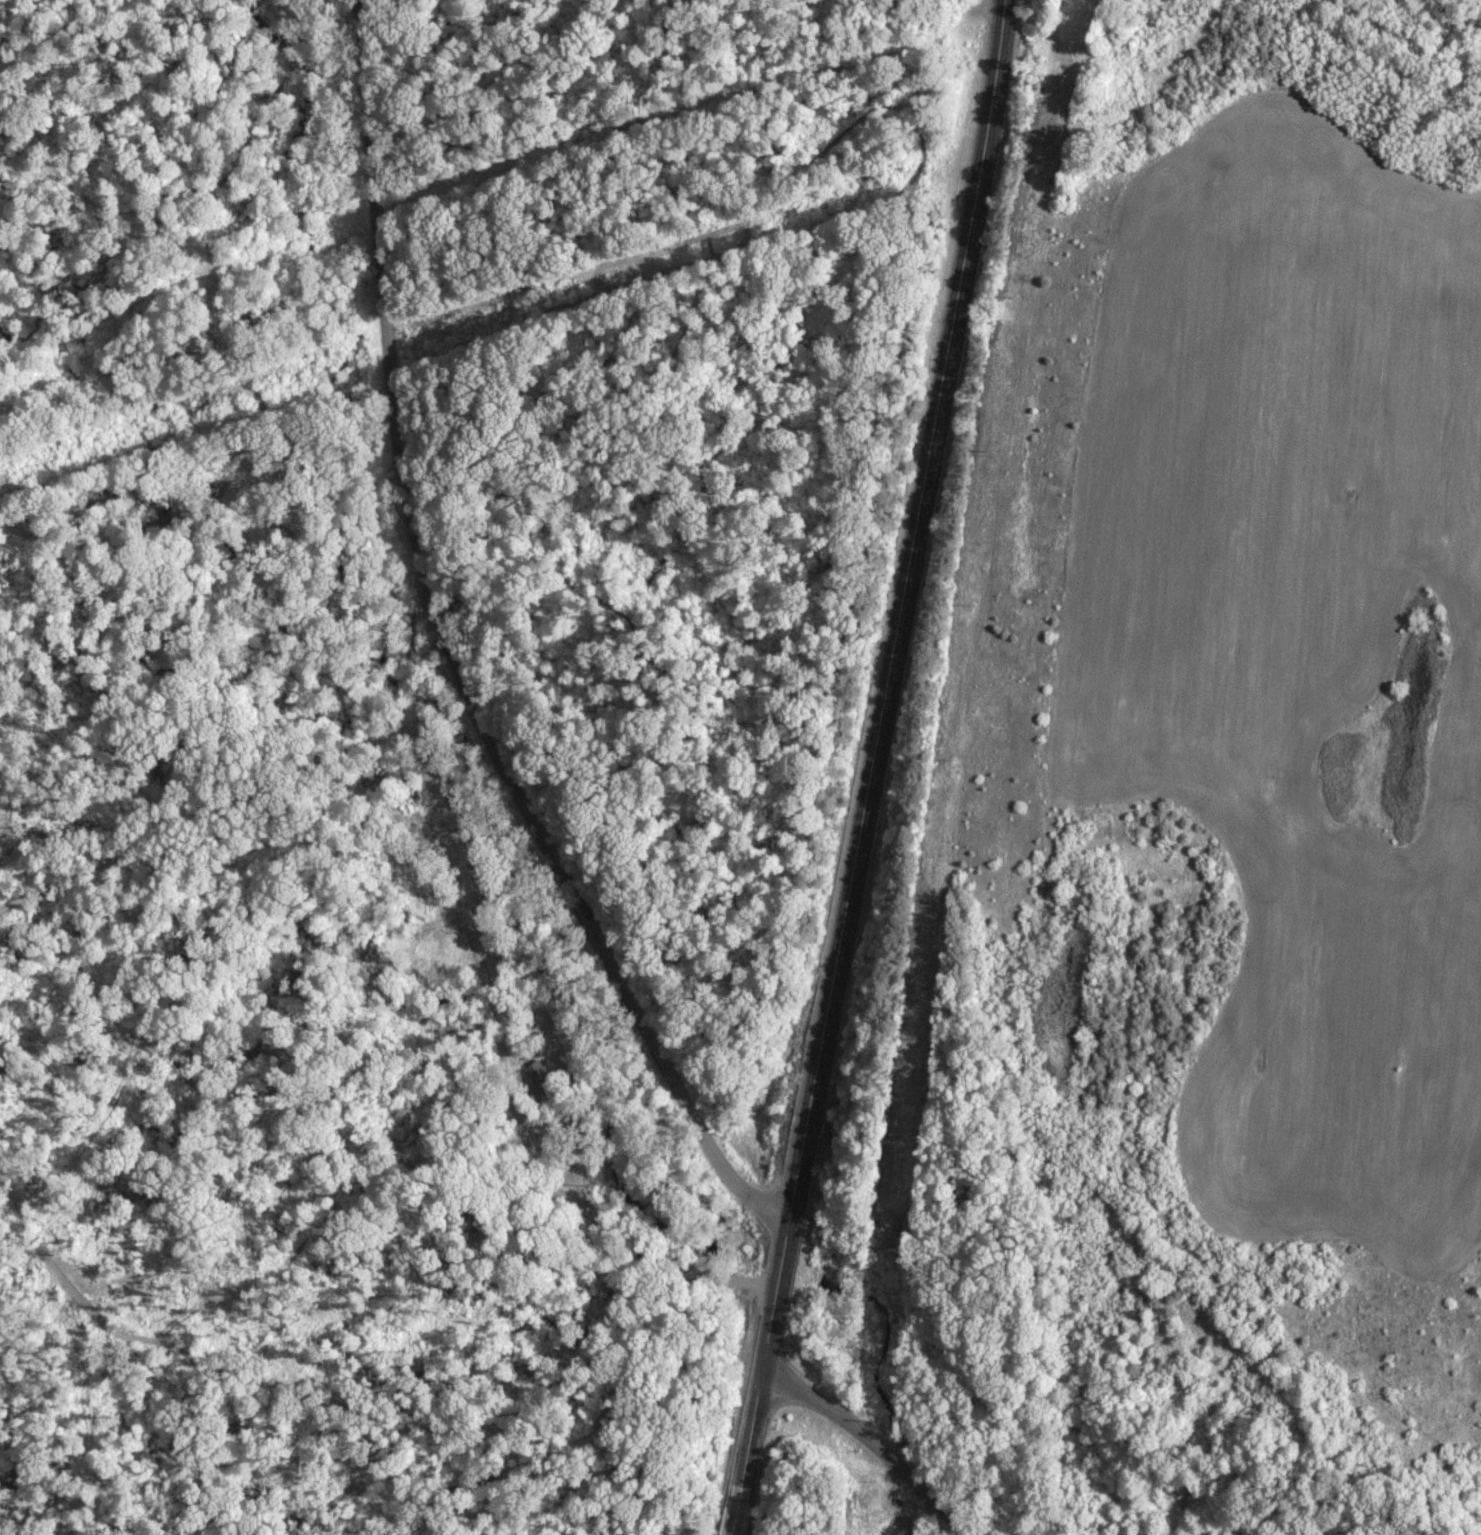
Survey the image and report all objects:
road: (443, 663)
road: (875, 767)
road: (876, 1444)
road: (902, 1501)

